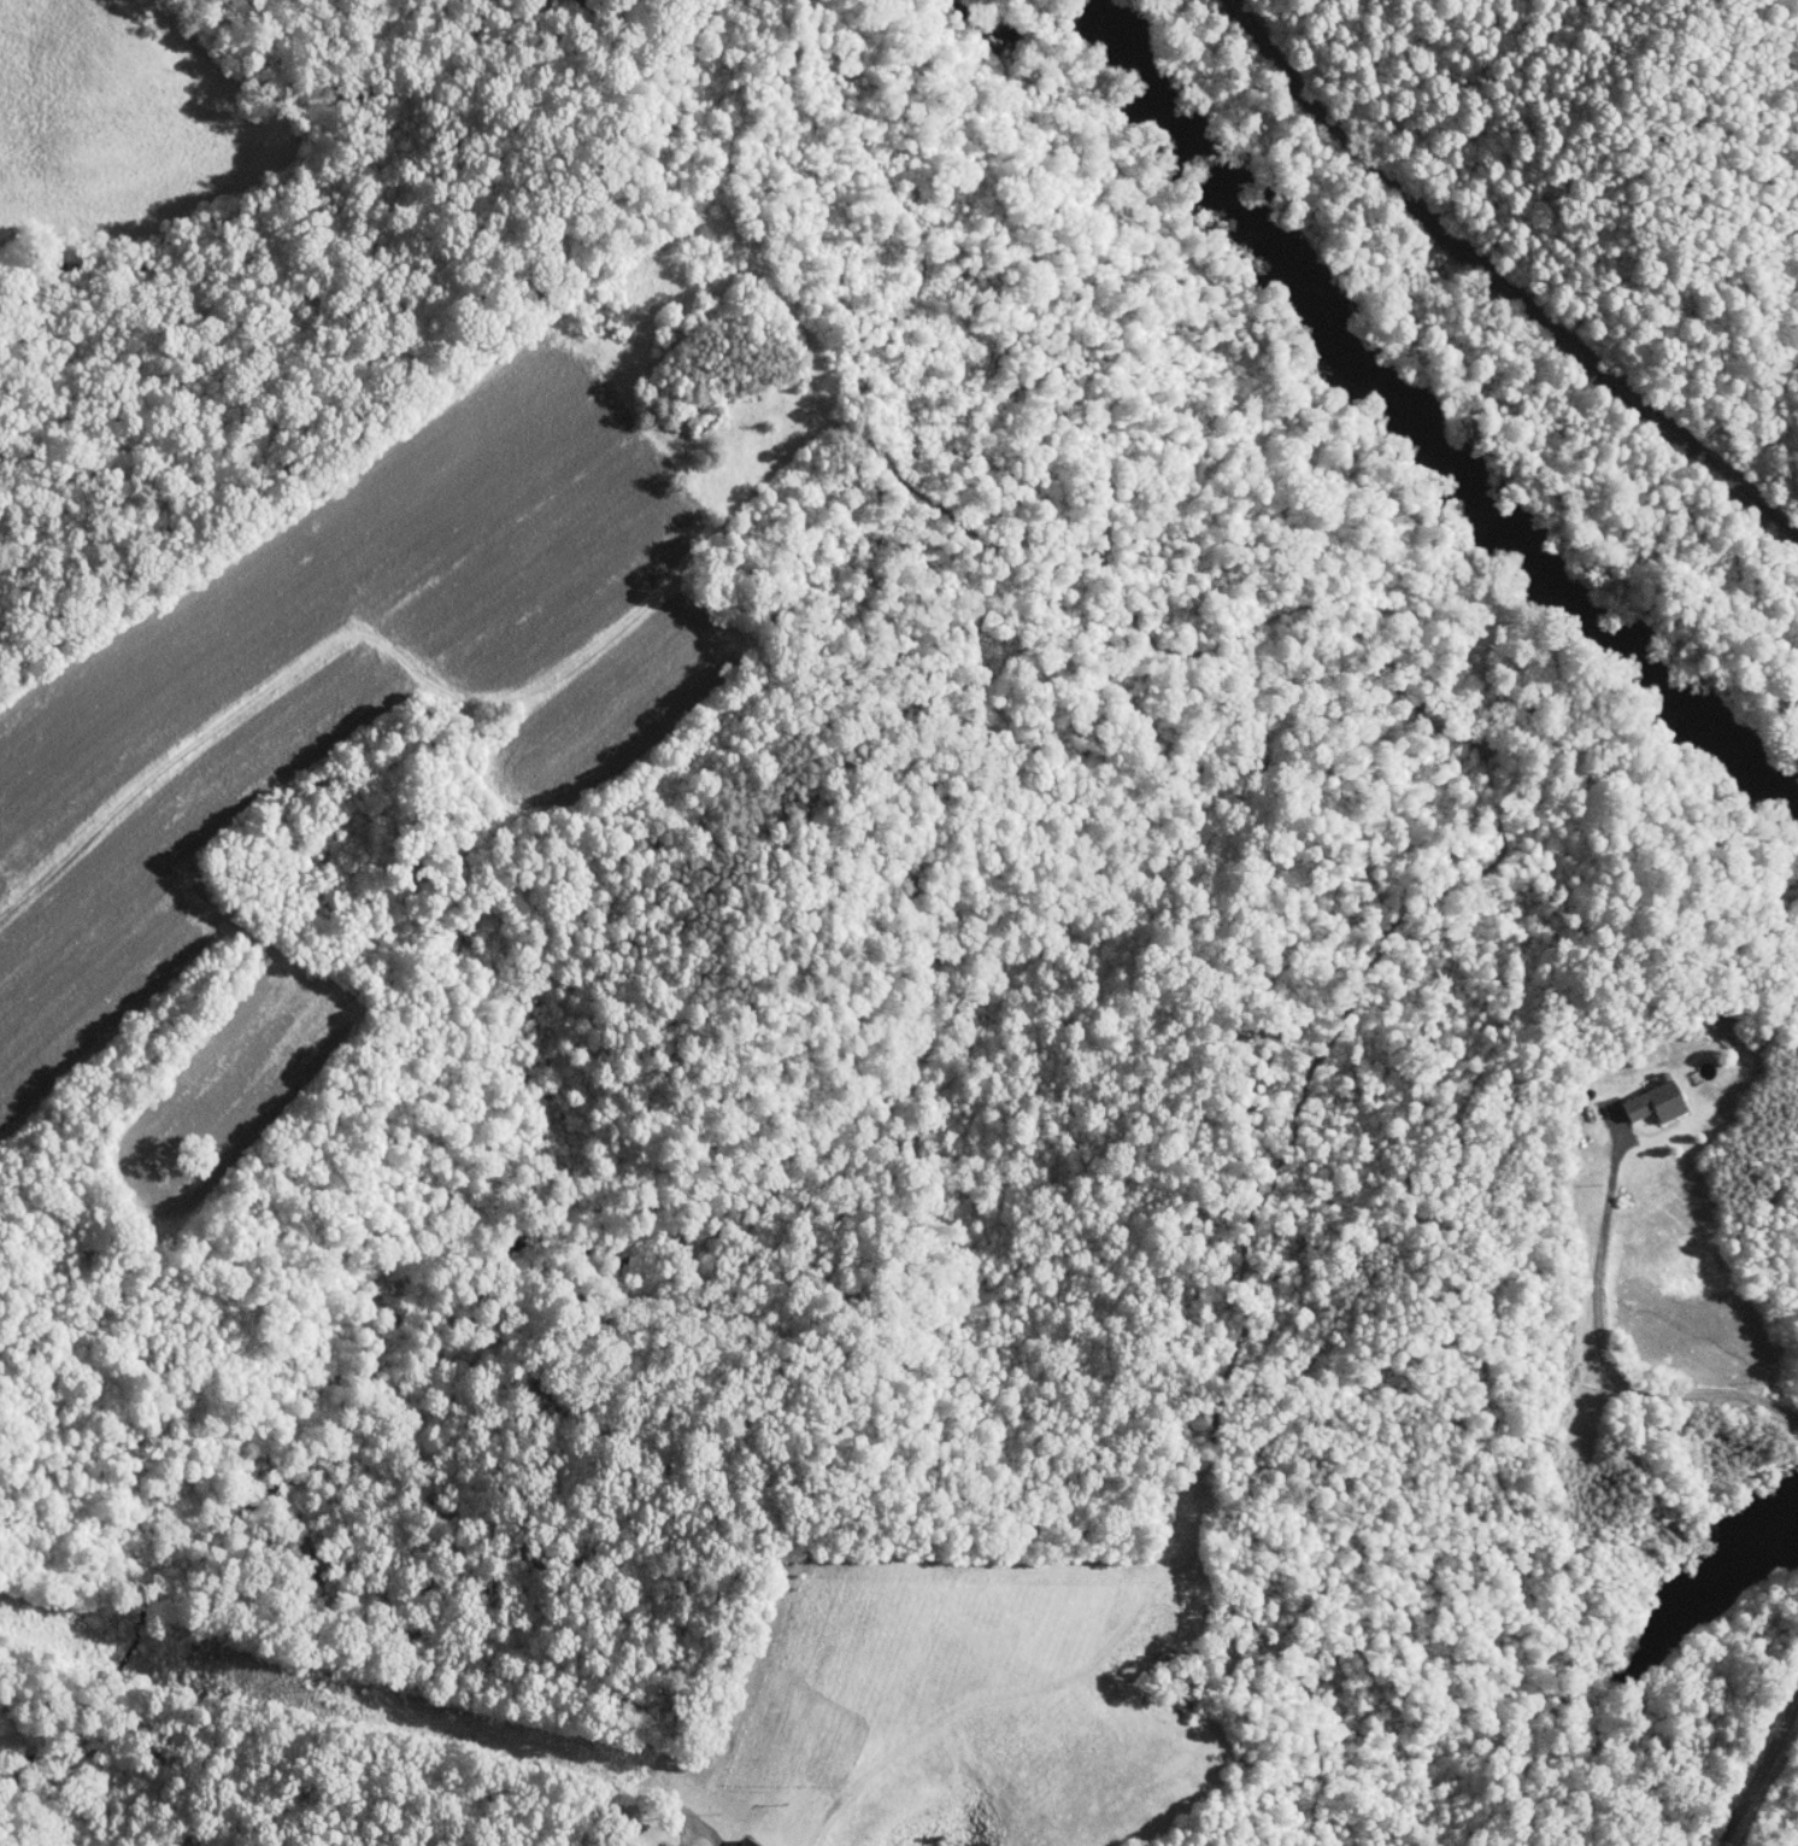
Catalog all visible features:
railway: (1502, 285)
river: (1345, 340)
road: (362, 639)
river: (1709, 732)
building: (1703, 1012)
building: (1637, 1096)
road: (1588, 1356)
road: (833, 1649)
road: (1749, 1750)
building: (729, 1840)
building: (660, 1844)

